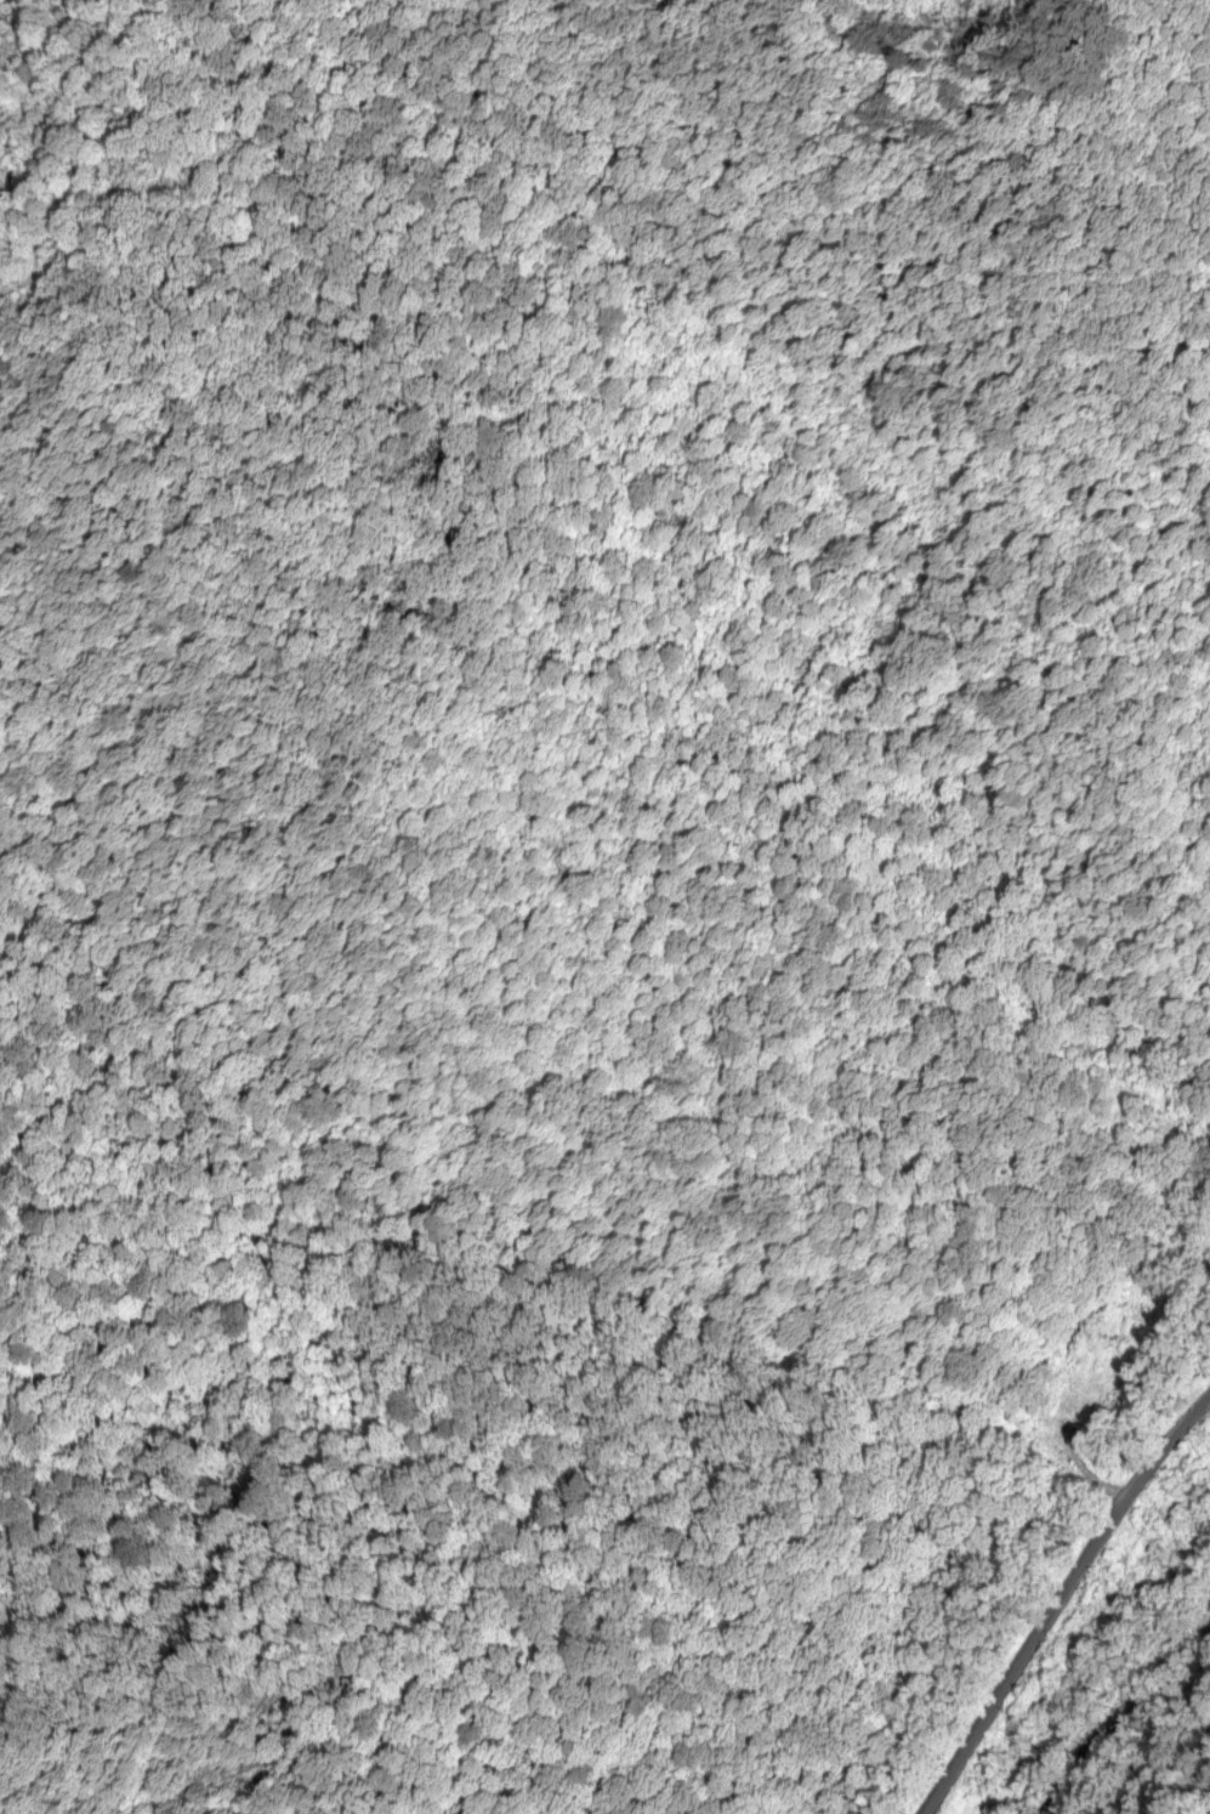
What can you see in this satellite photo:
road: (1063, 1597)

